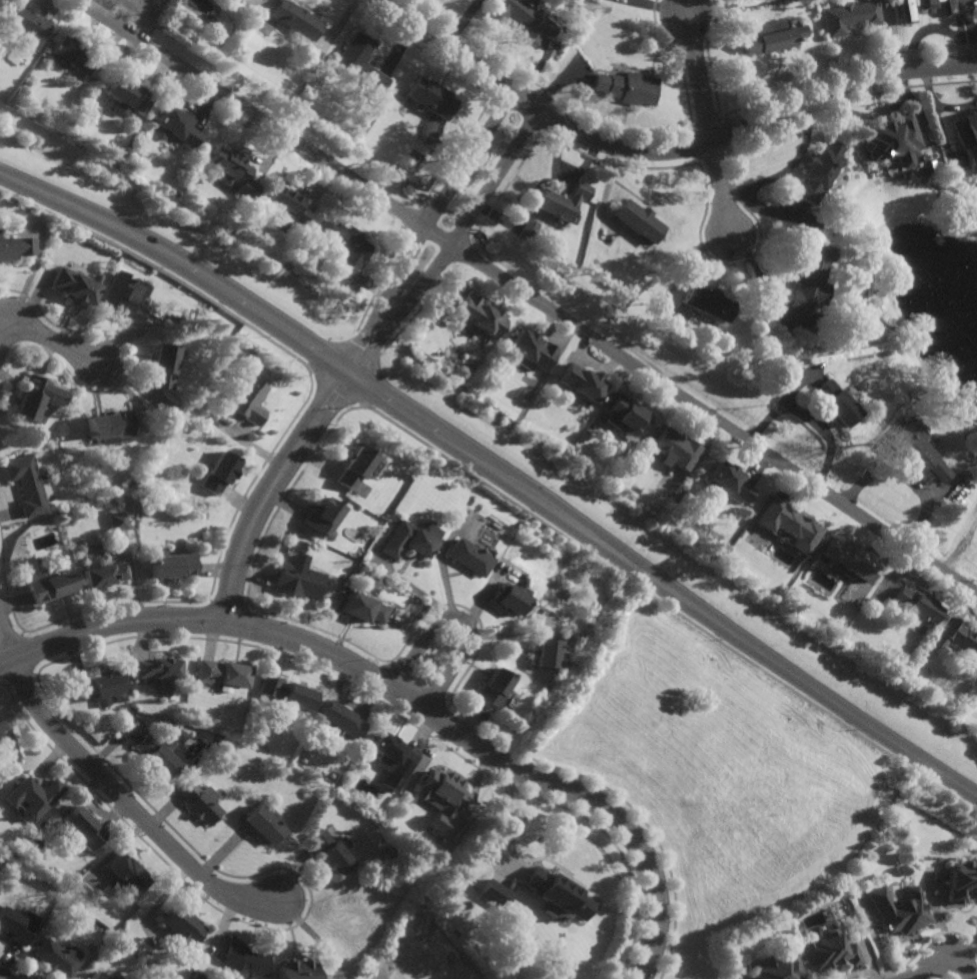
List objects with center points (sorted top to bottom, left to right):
road: (690, 5)
building: (907, 11)
building: (848, 16)
building: (523, 17)
building: (294, 19)
building: (24, 20)
building: (770, 38)
building: (68, 53)
building: (359, 62)
building: (627, 87)
building: (127, 94)
building: (431, 96)
road: (709, 121)
building: (176, 124)
building: (965, 133)
building: (889, 140)
road: (662, 151)
building: (231, 170)
building: (817, 171)
building: (973, 183)
building: (561, 201)
building: (285, 205)
building: (638, 222)
road: (423, 226)
building: (527, 230)
road: (451, 244)
building: (344, 246)
building: (16, 247)
building: (811, 277)
building: (75, 285)
building: (124, 297)
road: (529, 297)
building: (342, 303)
building: (708, 304)
building: (479, 316)
road: (48, 337)
building: (532, 350)
building: (164, 367)
building: (580, 384)
building: (37, 399)
building: (247, 402)
building: (835, 404)
building: (625, 416)
road: (807, 419)
building: (110, 427)
building: (675, 450)
building: (915, 452)
building: (355, 469)
road: (495, 470)
building: (220, 474)
building: (727, 481)
building: (128, 483)
building: (27, 484)
road: (272, 489)
building: (322, 517)
building: (116, 521)
building: (788, 525)
building: (382, 532)
building: (404, 540)
building: (468, 556)
building: (850, 558)
building: (171, 564)
building: (101, 572)
building: (297, 579)
building: (48, 585)
building: (508, 597)
building: (915, 605)
building: (362, 608)
road: (460, 619)
building: (957, 637)
road: (7, 638)
building: (547, 652)
building: (156, 669)
building: (221, 673)
building: (98, 687)
building: (491, 687)
building: (286, 693)
road: (400, 696)
building: (338, 721)
building: (1, 727)
building: (178, 736)
building: (155, 754)
building: (389, 760)
building: (33, 796)
building: (439, 797)
building: (398, 801)
road: (127, 803)
building: (195, 803)
building: (380, 815)
building: (263, 824)
building: (82, 827)
building: (330, 852)
building: (127, 876)
building: (960, 881)
building: (492, 894)
building: (558, 897)
building: (22, 910)
building: (898, 910)
building: (17, 925)
building: (179, 927)
building: (795, 927)
building: (827, 952)
building: (57, 958)
building: (243, 961)
building: (774, 966)
building: (296, 969)
road: (944, 972)
building: (97, 976)
road: (1, 978)
building: (118, 978)

